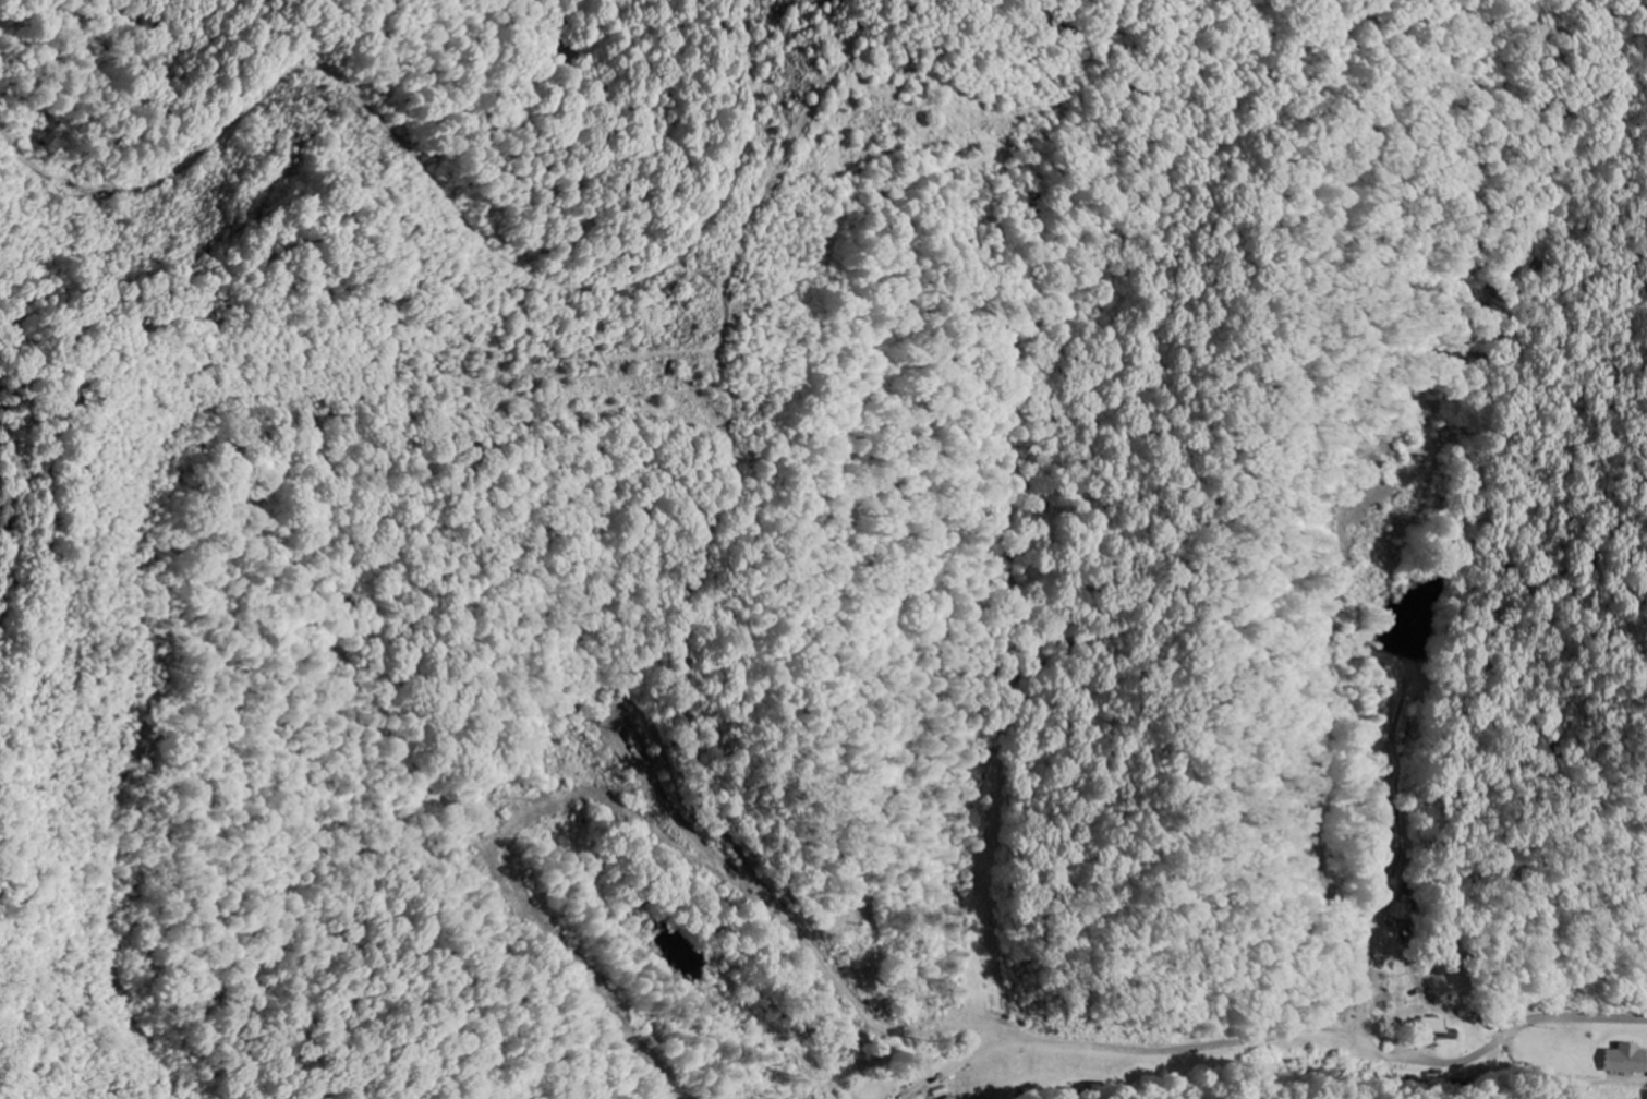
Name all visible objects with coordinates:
building: (1426, 1030)
road: (1371, 1055)
building: (1622, 1063)

